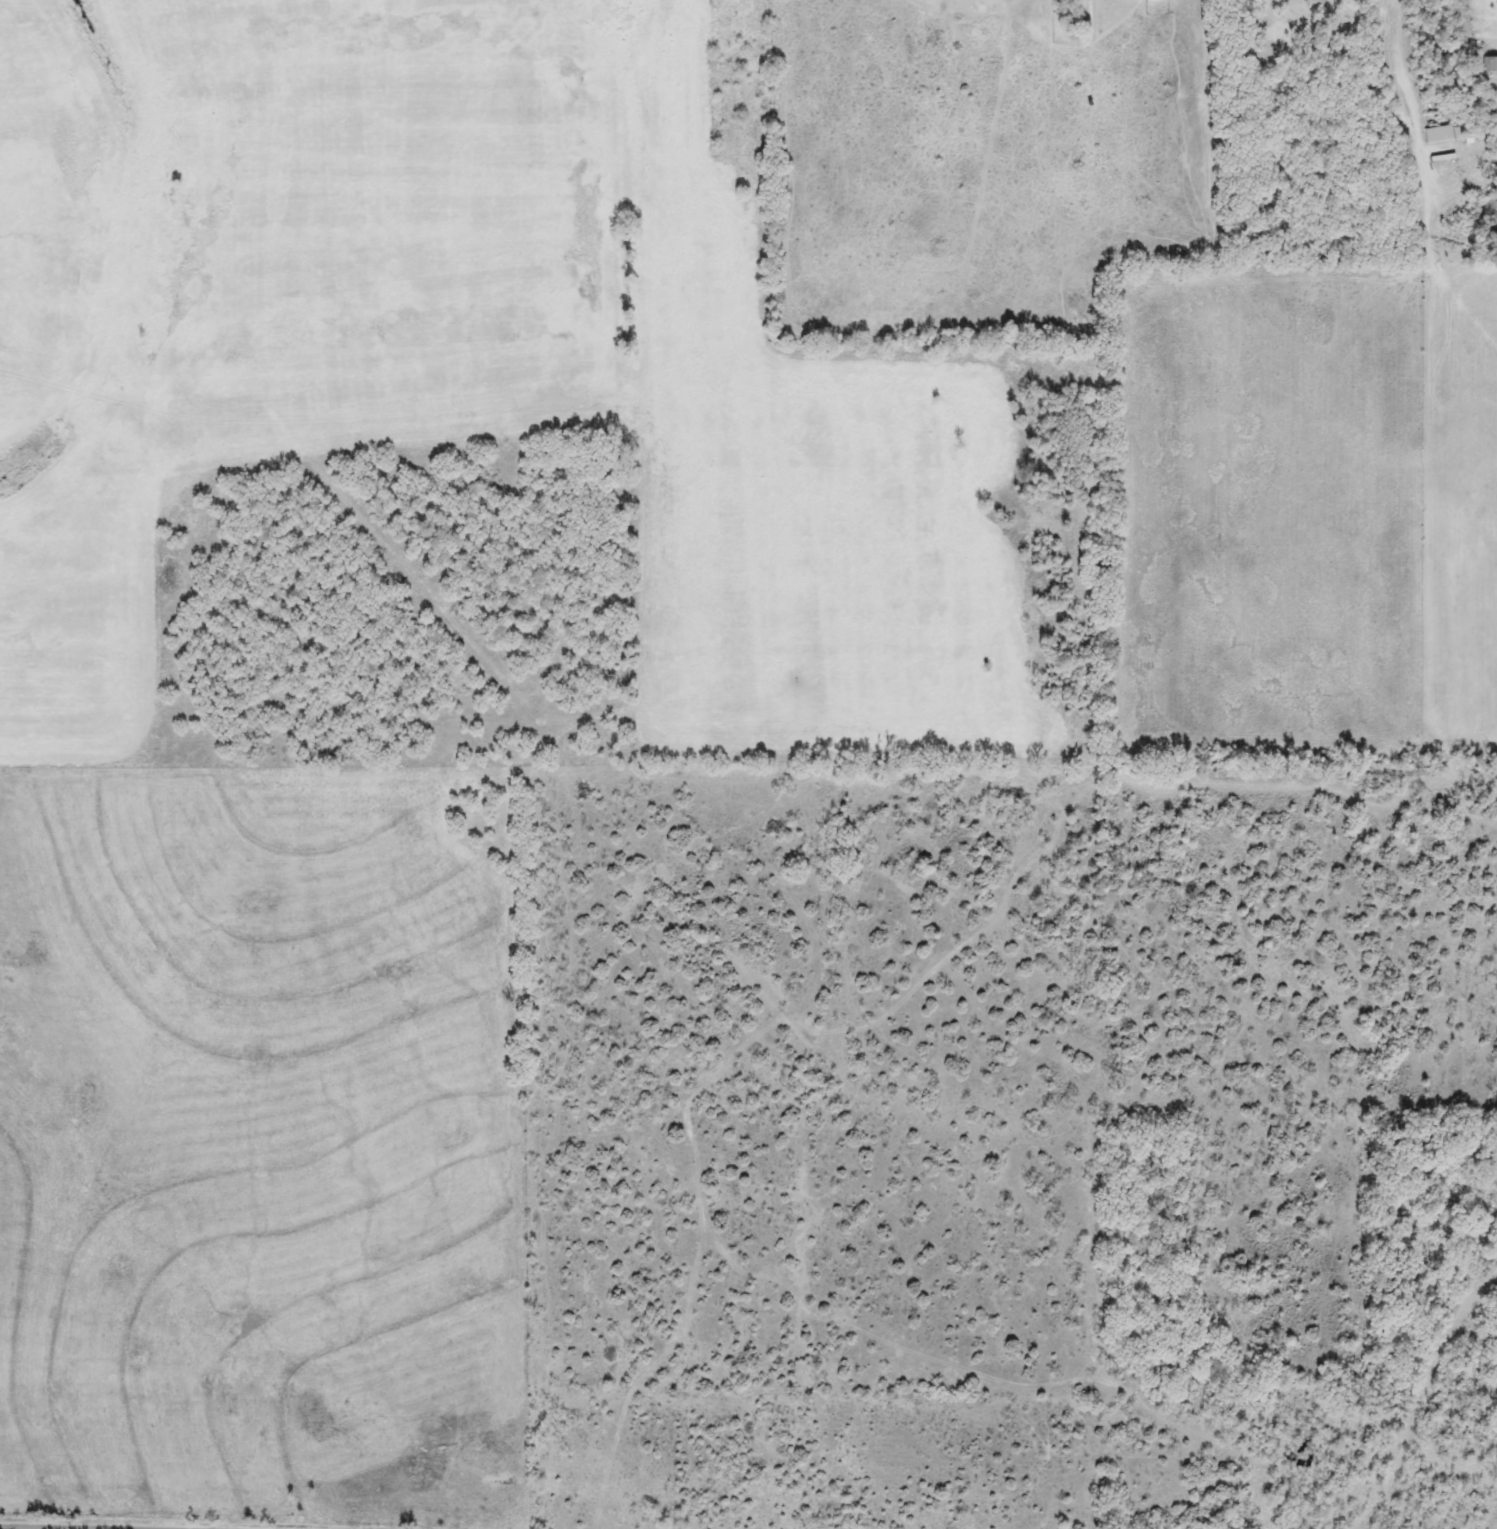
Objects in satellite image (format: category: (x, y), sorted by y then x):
building: (1149, 0)
road: (14, 1528)

